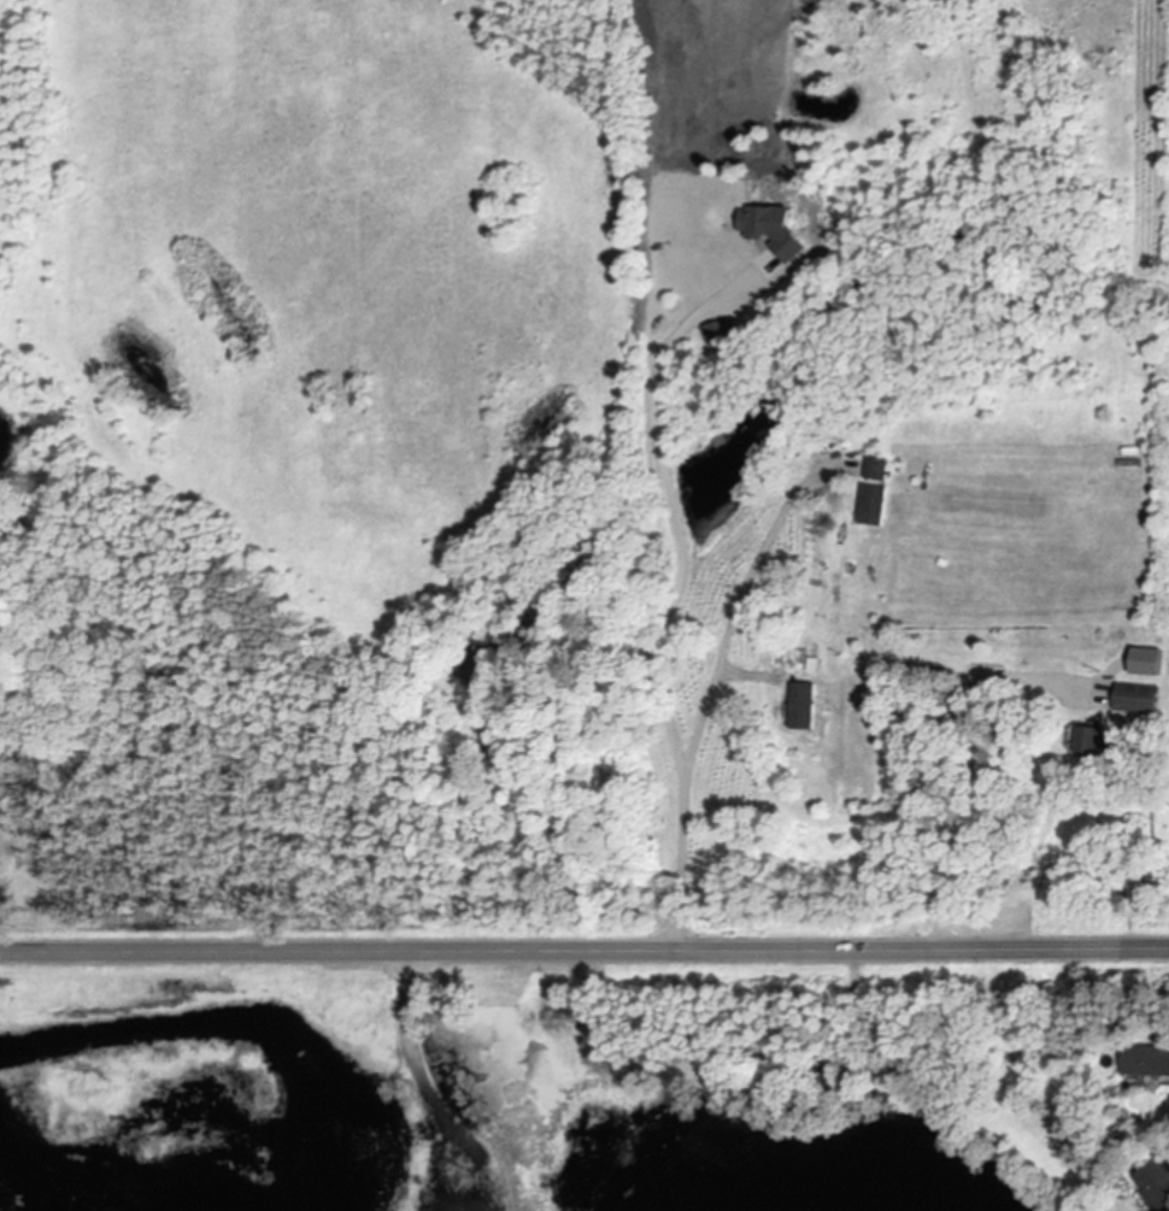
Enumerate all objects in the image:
building: (779, 231)
building: (723, 334)
building: (879, 471)
building: (876, 507)
building: (1152, 664)
road: (710, 693)
building: (1140, 700)
building: (804, 707)
building: (1102, 741)
road: (962, 770)
road: (584, 950)
building: (1150, 1063)
road: (440, 1147)
building: (1158, 1187)

